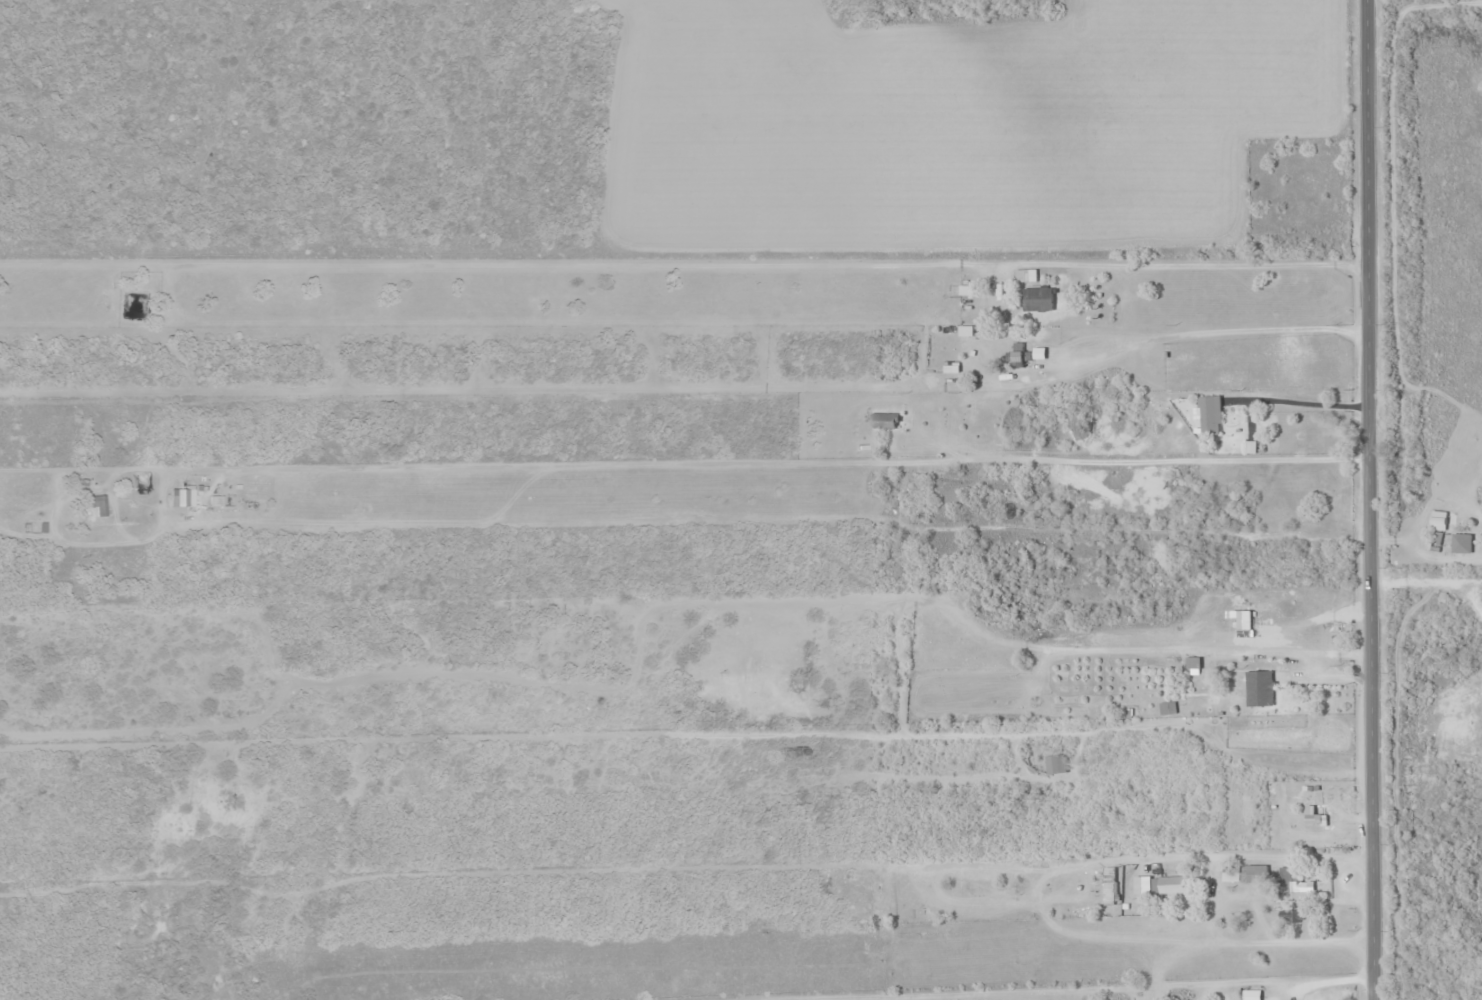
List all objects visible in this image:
building: (1025, 274)
building: (1037, 298)
road: (187, 384)
building: (1210, 414)
building: (883, 420)
road: (1366, 500)
building: (95, 504)
road: (707, 504)
road: (1424, 531)
building: (1434, 539)
building: (1193, 662)
building: (1259, 688)
building: (1167, 707)
building: (1055, 763)
building: (1312, 815)
building: (1244, 873)
building: (1291, 879)
building: (1174, 884)
building: (1108, 890)

